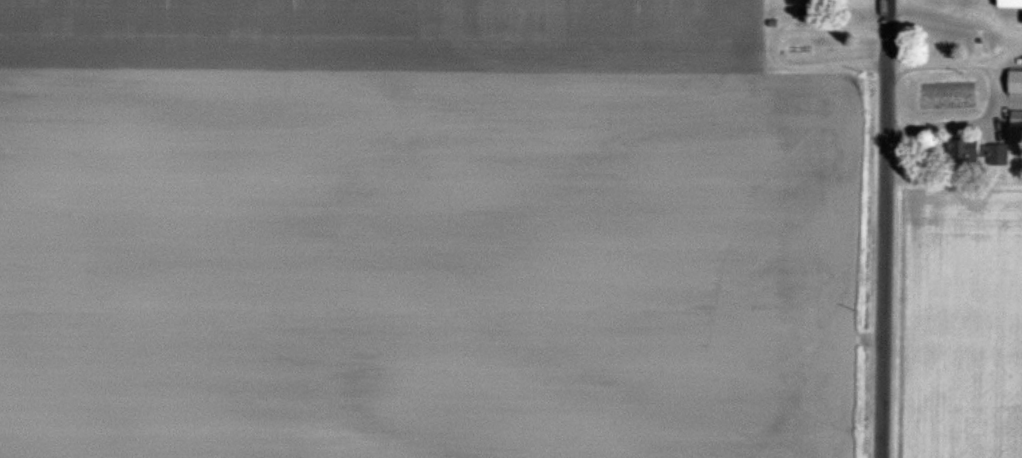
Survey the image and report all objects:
building: (1010, 4)
building: (812, 9)
building: (1016, 83)
building: (1017, 119)
building: (979, 155)
road: (883, 229)

